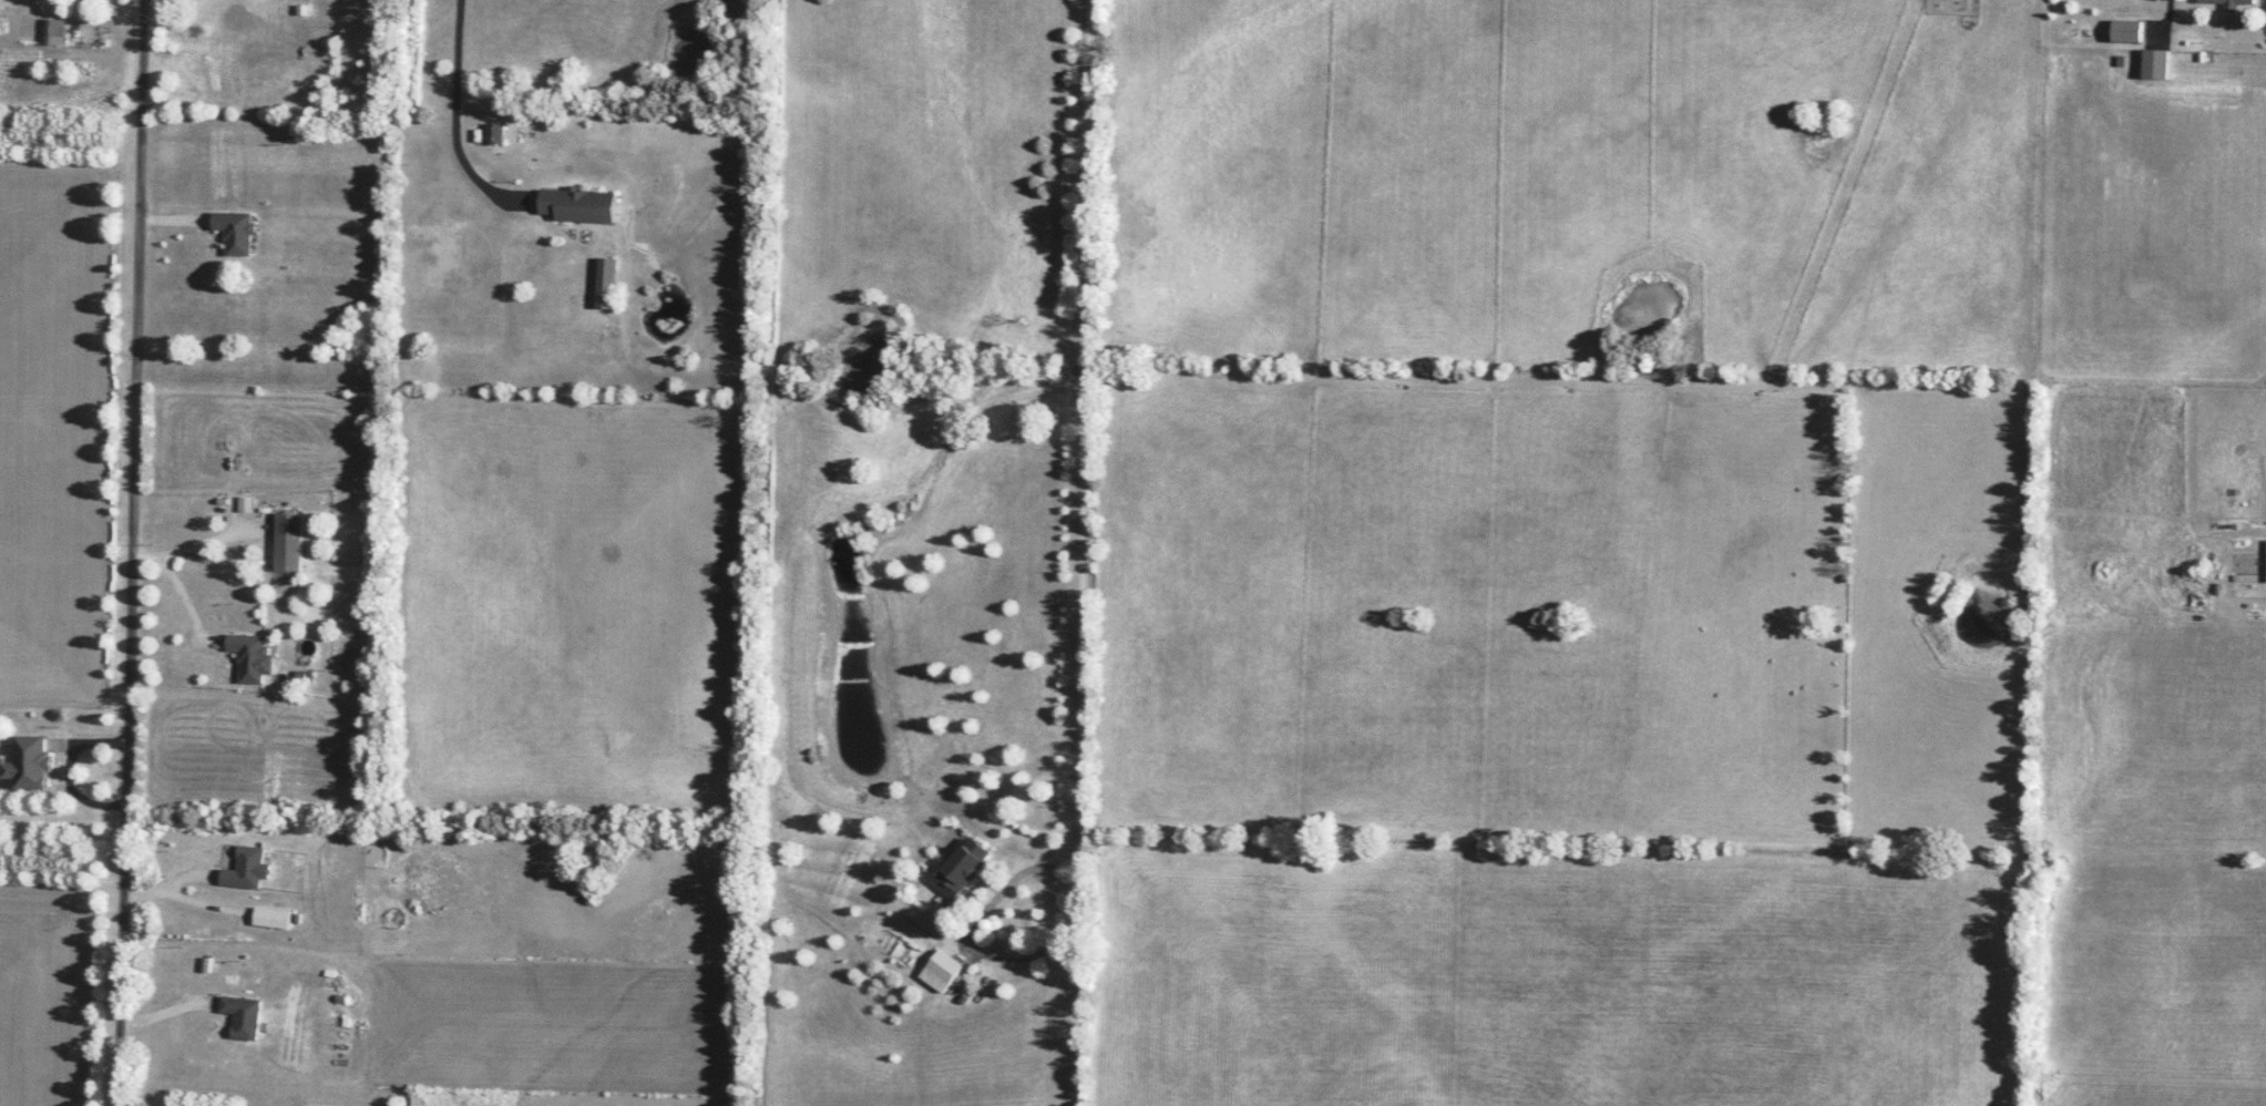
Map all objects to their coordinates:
building: (2227, 3)
building: (58, 27)
building: (2125, 32)
building: (2154, 65)
road: (459, 116)
building: (493, 135)
building: (575, 207)
building: (237, 231)
building: (605, 285)
road: (1085, 503)
building: (290, 541)
road: (189, 543)
road: (130, 552)
road: (180, 596)
building: (253, 655)
building: (31, 761)
building: (361, 837)
building: (249, 869)
building: (961, 870)
building: (275, 918)
building: (940, 972)
building: (246, 1015)

